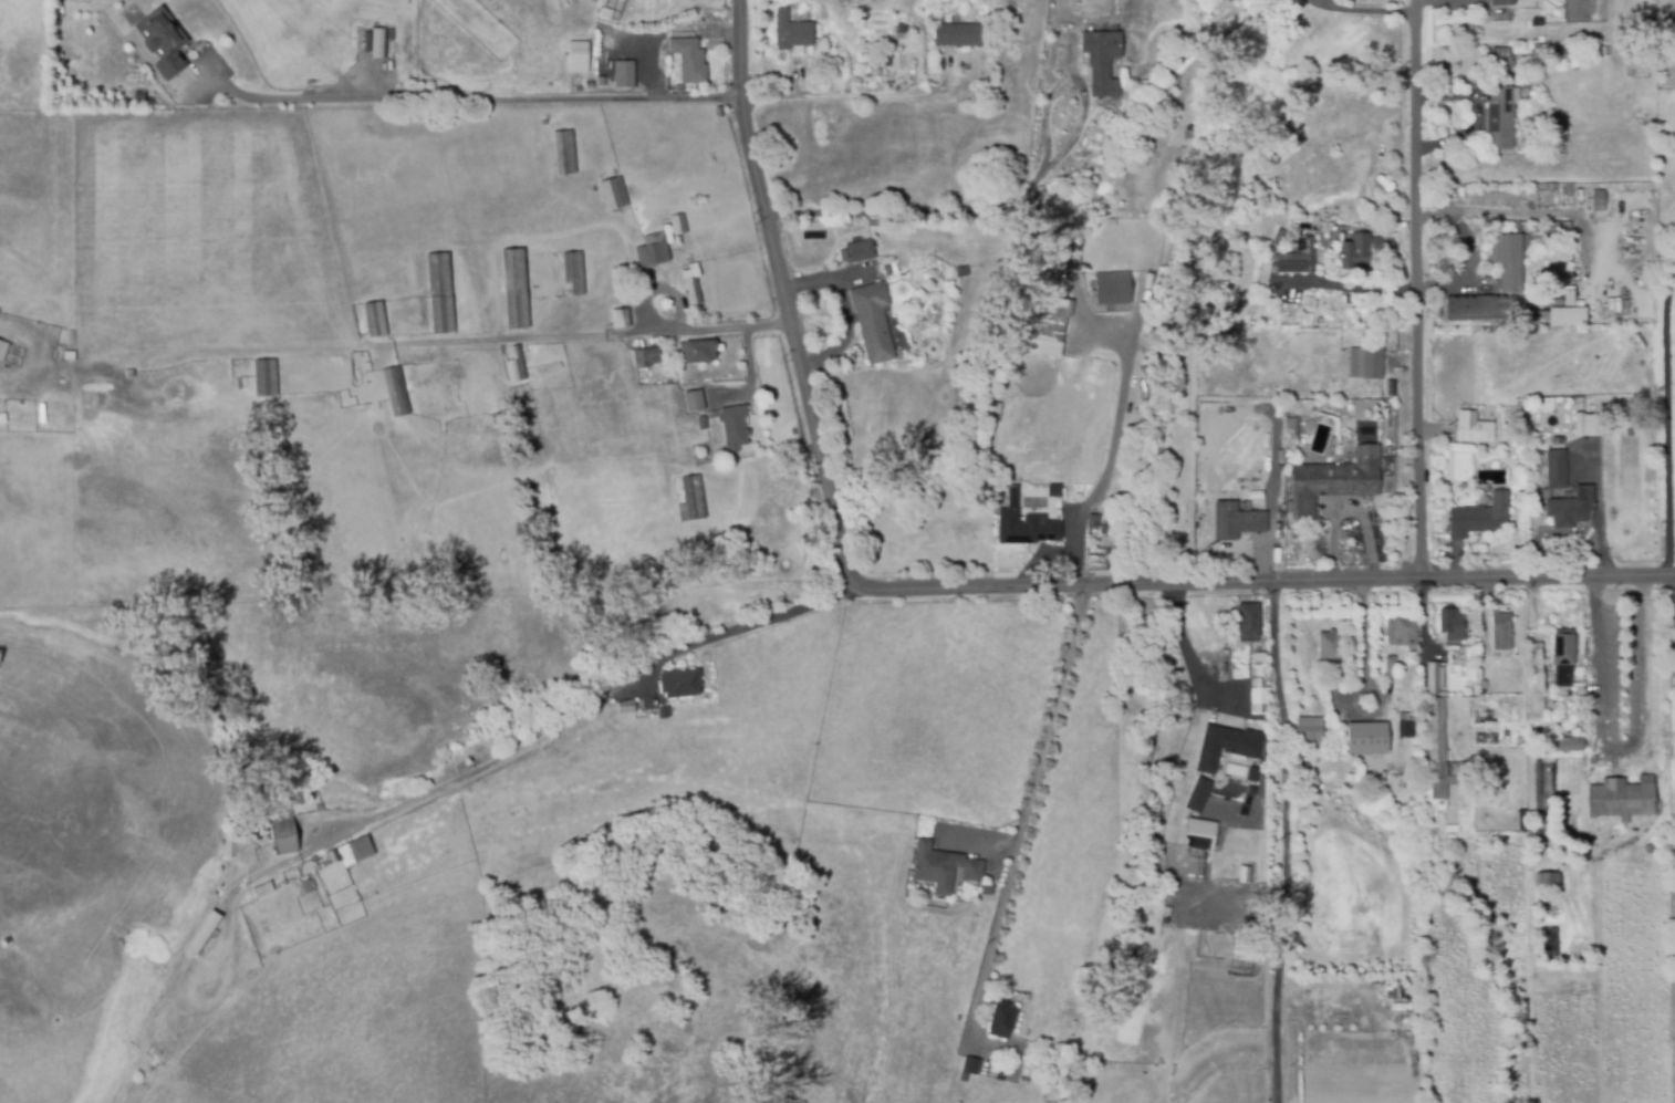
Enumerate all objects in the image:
building: (1502, 1)
road: (1364, 9)
building: (793, 30)
building: (959, 33)
building: (376, 42)
building: (163, 48)
building: (1538, 49)
building: (1561, 53)
building: (1502, 55)
building: (578, 58)
building: (687, 59)
building: (1103, 60)
building: (625, 72)
building: (587, 83)
road: (469, 95)
road: (856, 95)
building: (1504, 114)
building: (565, 152)
building: (615, 191)
road: (823, 217)
building: (678, 223)
building: (1385, 241)
building: (653, 249)
building: (862, 249)
building: (1356, 249)
building: (1301, 256)
road: (1674, 257)
road: (1674, 259)
building: (1510, 260)
building: (963, 270)
building: (574, 273)
building: (1048, 278)
building: (694, 283)
building: (1113, 287)
road: (1352, 287)
building: (516, 288)
road: (1417, 288)
building: (441, 292)
road: (787, 292)
building: (1479, 305)
building: (1569, 314)
building: (622, 318)
building: (376, 319)
building: (874, 320)
road: (700, 330)
building: (1047, 330)
road: (485, 339)
building: (699, 350)
building: (2, 351)
building: (67, 356)
building: (648, 356)
building: (1366, 361)
building: (517, 364)
building: (131, 373)
building: (264, 377)
building: (396, 391)
building: (691, 399)
road: (1666, 416)
building: (497, 419)
building: (703, 422)
building: (737, 426)
building: (1608, 428)
building: (1476, 429)
building: (1630, 431)
building: (1558, 468)
building: (1333, 481)
building: (1546, 492)
building: (693, 498)
building: (1573, 506)
building: (1480, 517)
building: (1238, 520)
building: (1029, 528)
road: (1228, 545)
road: (1268, 579)
building: (1250, 621)
building: (1454, 623)
building: (1408, 631)
building: (1504, 631)
road: (1364, 634)
building: (1476, 644)
road: (1183, 647)
building: (1332, 652)
building: (1453, 653)
building: (1564, 655)
building: (1258, 656)
building: (1673, 663)
building: (1391, 665)
building: (1436, 675)
building: (682, 683)
road: (1354, 696)
building: (1260, 697)
building: (627, 708)
building: (665, 711)
road: (576, 718)
building: (1308, 732)
building: (1365, 738)
building: (1570, 741)
building: (1225, 746)
building: (1439, 751)
building: (1464, 764)
building: (466, 767)
building: (1251, 774)
building: (1534, 778)
building: (1198, 795)
building: (1624, 797)
road: (1022, 815)
building: (284, 832)
building: (1201, 833)
road: (1284, 840)
building: (356, 851)
building: (334, 854)
building: (945, 866)
building: (1196, 868)
building: (1550, 880)
building: (310, 884)
building: (989, 887)
building: (264, 888)
building: (204, 933)
building: (1003, 1018)
building: (971, 1065)
building: (1002, 1074)
building: (1026, 1079)

